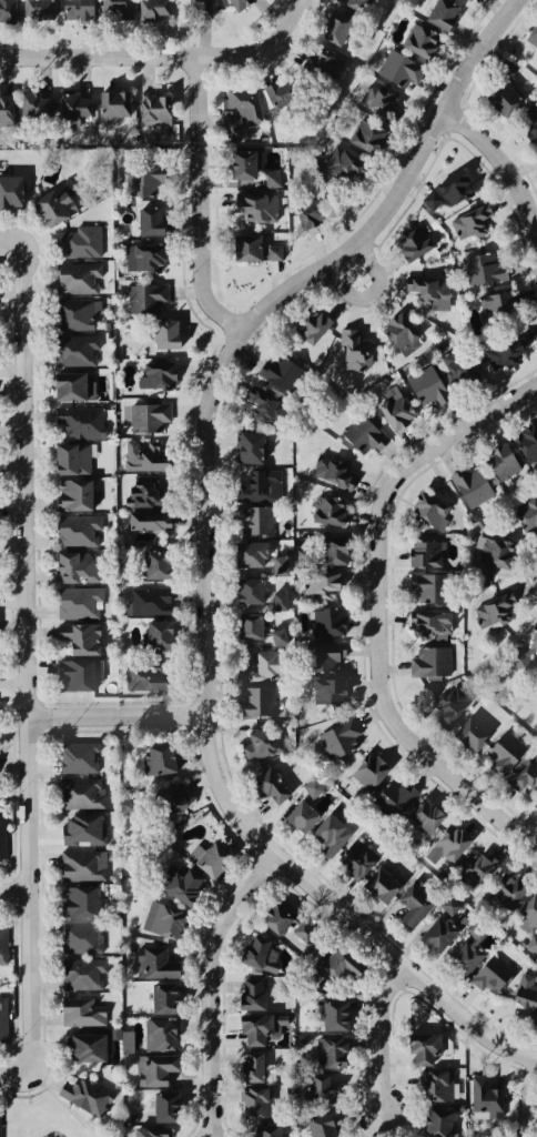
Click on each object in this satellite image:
building: (469, 0)
building: (244, 6)
building: (363, 7)
building: (113, 9)
building: (190, 9)
building: (4, 10)
building: (34, 10)
building: (149, 10)
building: (73, 11)
building: (442, 11)
building: (331, 31)
building: (418, 38)
building: (529, 40)
road: (163, 53)
building: (321, 66)
building: (396, 68)
building: (513, 71)
building: (283, 97)
building: (71, 98)
building: (498, 99)
building: (382, 101)
building: (33, 103)
building: (108, 103)
building: (2, 108)
building: (236, 112)
building: (152, 117)
building: (531, 122)
building: (364, 133)
road: (501, 151)
building: (239, 164)
building: (343, 167)
building: (144, 180)
building: (274, 180)
building: (9, 190)
building: (449, 191)
road: (204, 200)
building: (246, 205)
building: (50, 207)
building: (306, 211)
building: (149, 217)
building: (470, 222)
road: (14, 243)
building: (409, 243)
building: (77, 244)
building: (245, 244)
building: (144, 254)
building: (482, 264)
road: (348, 270)
building: (77, 278)
building: (428, 294)
building: (146, 295)
building: (496, 306)
building: (74, 314)
building: (313, 328)
building: (398, 332)
building: (165, 335)
building: (73, 350)
building: (503, 351)
building: (353, 358)
building: (458, 368)
building: (281, 372)
building: (155, 380)
building: (65, 385)
building: (427, 395)
building: (264, 405)
building: (389, 406)
building: (146, 419)
building: (78, 422)
building: (364, 437)
building: (254, 442)
building: (525, 444)
building: (142, 455)
building: (68, 456)
building: (501, 464)
building: (345, 475)
building: (253, 481)
road: (397, 481)
building: (468, 486)
building: (144, 491)
building: (70, 493)
building: (327, 511)
building: (428, 511)
building: (525, 514)
building: (249, 517)
building: (142, 524)
building: (75, 530)
road: (209, 543)
building: (247, 552)
building: (330, 552)
building: (425, 552)
building: (485, 553)
building: (148, 561)
building: (280, 565)
building: (79, 567)
building: (322, 584)
building: (430, 586)
building: (262, 595)
building: (146, 598)
building: (78, 602)
building: (495, 607)
building: (327, 623)
building: (433, 623)
building: (249, 632)
building: (149, 635)
building: (276, 637)
building: (81, 638)
building: (524, 653)
building: (324, 655)
road: (36, 657)
building: (267, 663)
building: (430, 663)
building: (73, 674)
building: (142, 676)
building: (328, 692)
building: (254, 702)
building: (450, 703)
road: (123, 714)
building: (345, 736)
building: (473, 736)
building: (260, 744)
building: (504, 754)
building: (79, 755)
building: (156, 756)
road: (439, 758)
building: (372, 772)
building: (527, 775)
building: (272, 787)
building: (314, 788)
building: (80, 792)
building: (395, 795)
building: (170, 798)
building: (536, 803)
building: (536, 805)
building: (426, 815)
building: (303, 817)
building: (80, 827)
building: (332, 836)
building: (2, 837)
building: (455, 845)
building: (205, 856)
building: (357, 858)
building: (81, 863)
building: (476, 871)
building: (178, 882)
building: (382, 886)
building: (506, 889)
road: (19, 893)
building: (77, 898)
building: (450, 906)
building: (414, 908)
building: (530, 914)
building: (277, 917)
building: (166, 918)
building: (80, 936)
building: (440, 936)
building: (3, 940)
building: (250, 952)
building: (468, 956)
building: (333, 959)
building: (150, 963)
building: (79, 974)
road: (215, 976)
building: (495, 976)
building: (526, 992)
building: (247, 993)
building: (165, 997)
building: (331, 1009)
building: (78, 1012)
building: (2, 1020)
building: (257, 1032)
building: (158, 1033)
road: (385, 1038)
building: (84, 1044)
building: (422, 1048)
building: (325, 1049)
building: (250, 1066)
building: (152, 1070)
road: (19, 1074)
building: (317, 1088)
building: (429, 1088)
road: (38, 1090)
road: (28, 1093)
building: (85, 1093)
road: (13, 1094)
building: (486, 1096)
road: (29, 1098)
building: (250, 1101)
building: (166, 1107)
park: (37, 1115)
building: (433, 1120)
building: (315, 1126)
building: (0, 1128)
building: (142, 1129)
building: (263, 1129)

